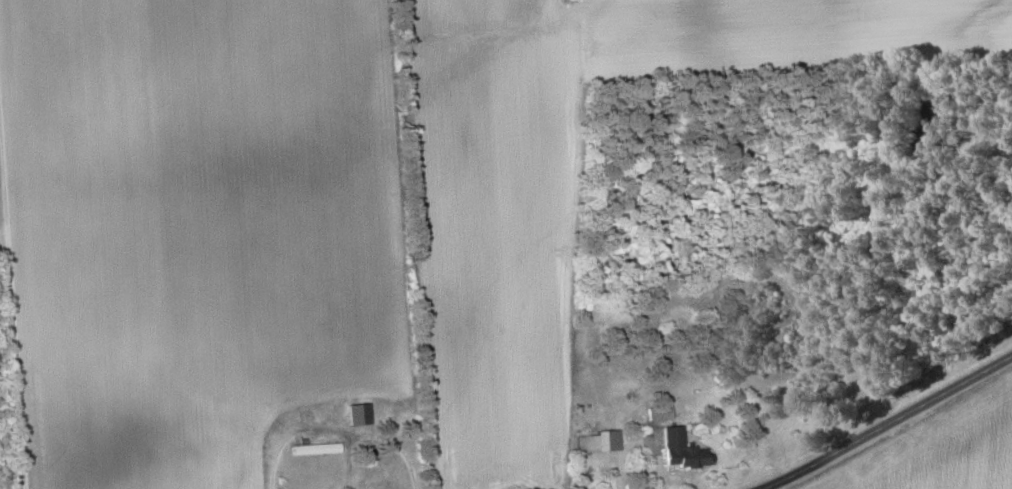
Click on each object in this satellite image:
road: (12, 303)
building: (358, 414)
road: (891, 422)
road: (337, 430)
road: (642, 439)
building: (599, 441)
building: (681, 449)
road: (348, 459)

